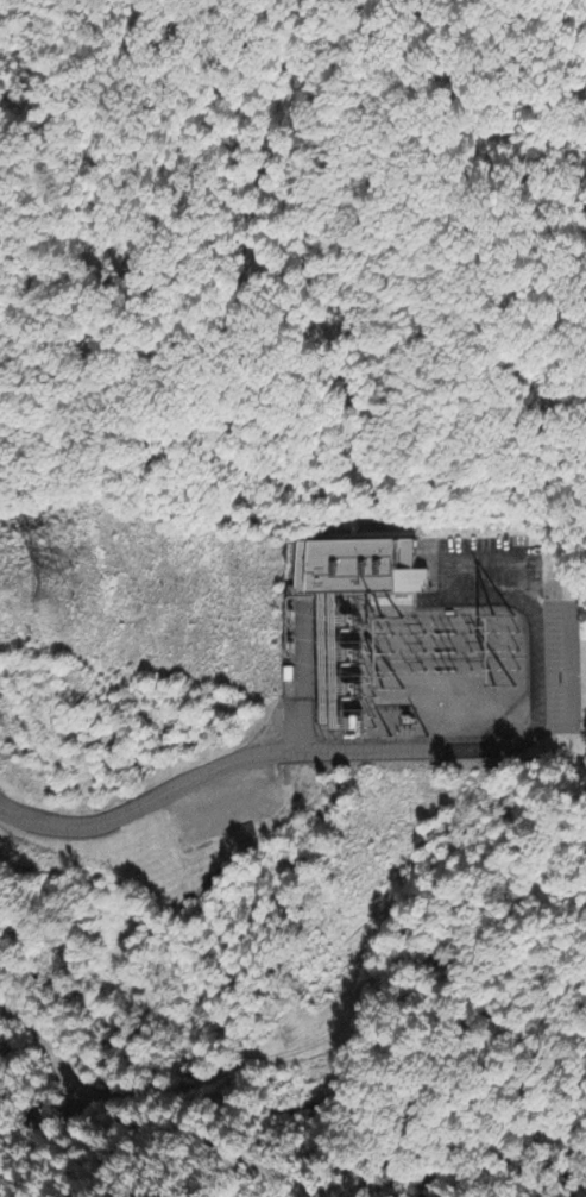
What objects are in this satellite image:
power tower: (57, 582)
building: (386, 627)
power substation: (411, 648)
power tower: (407, 737)
road: (367, 754)

